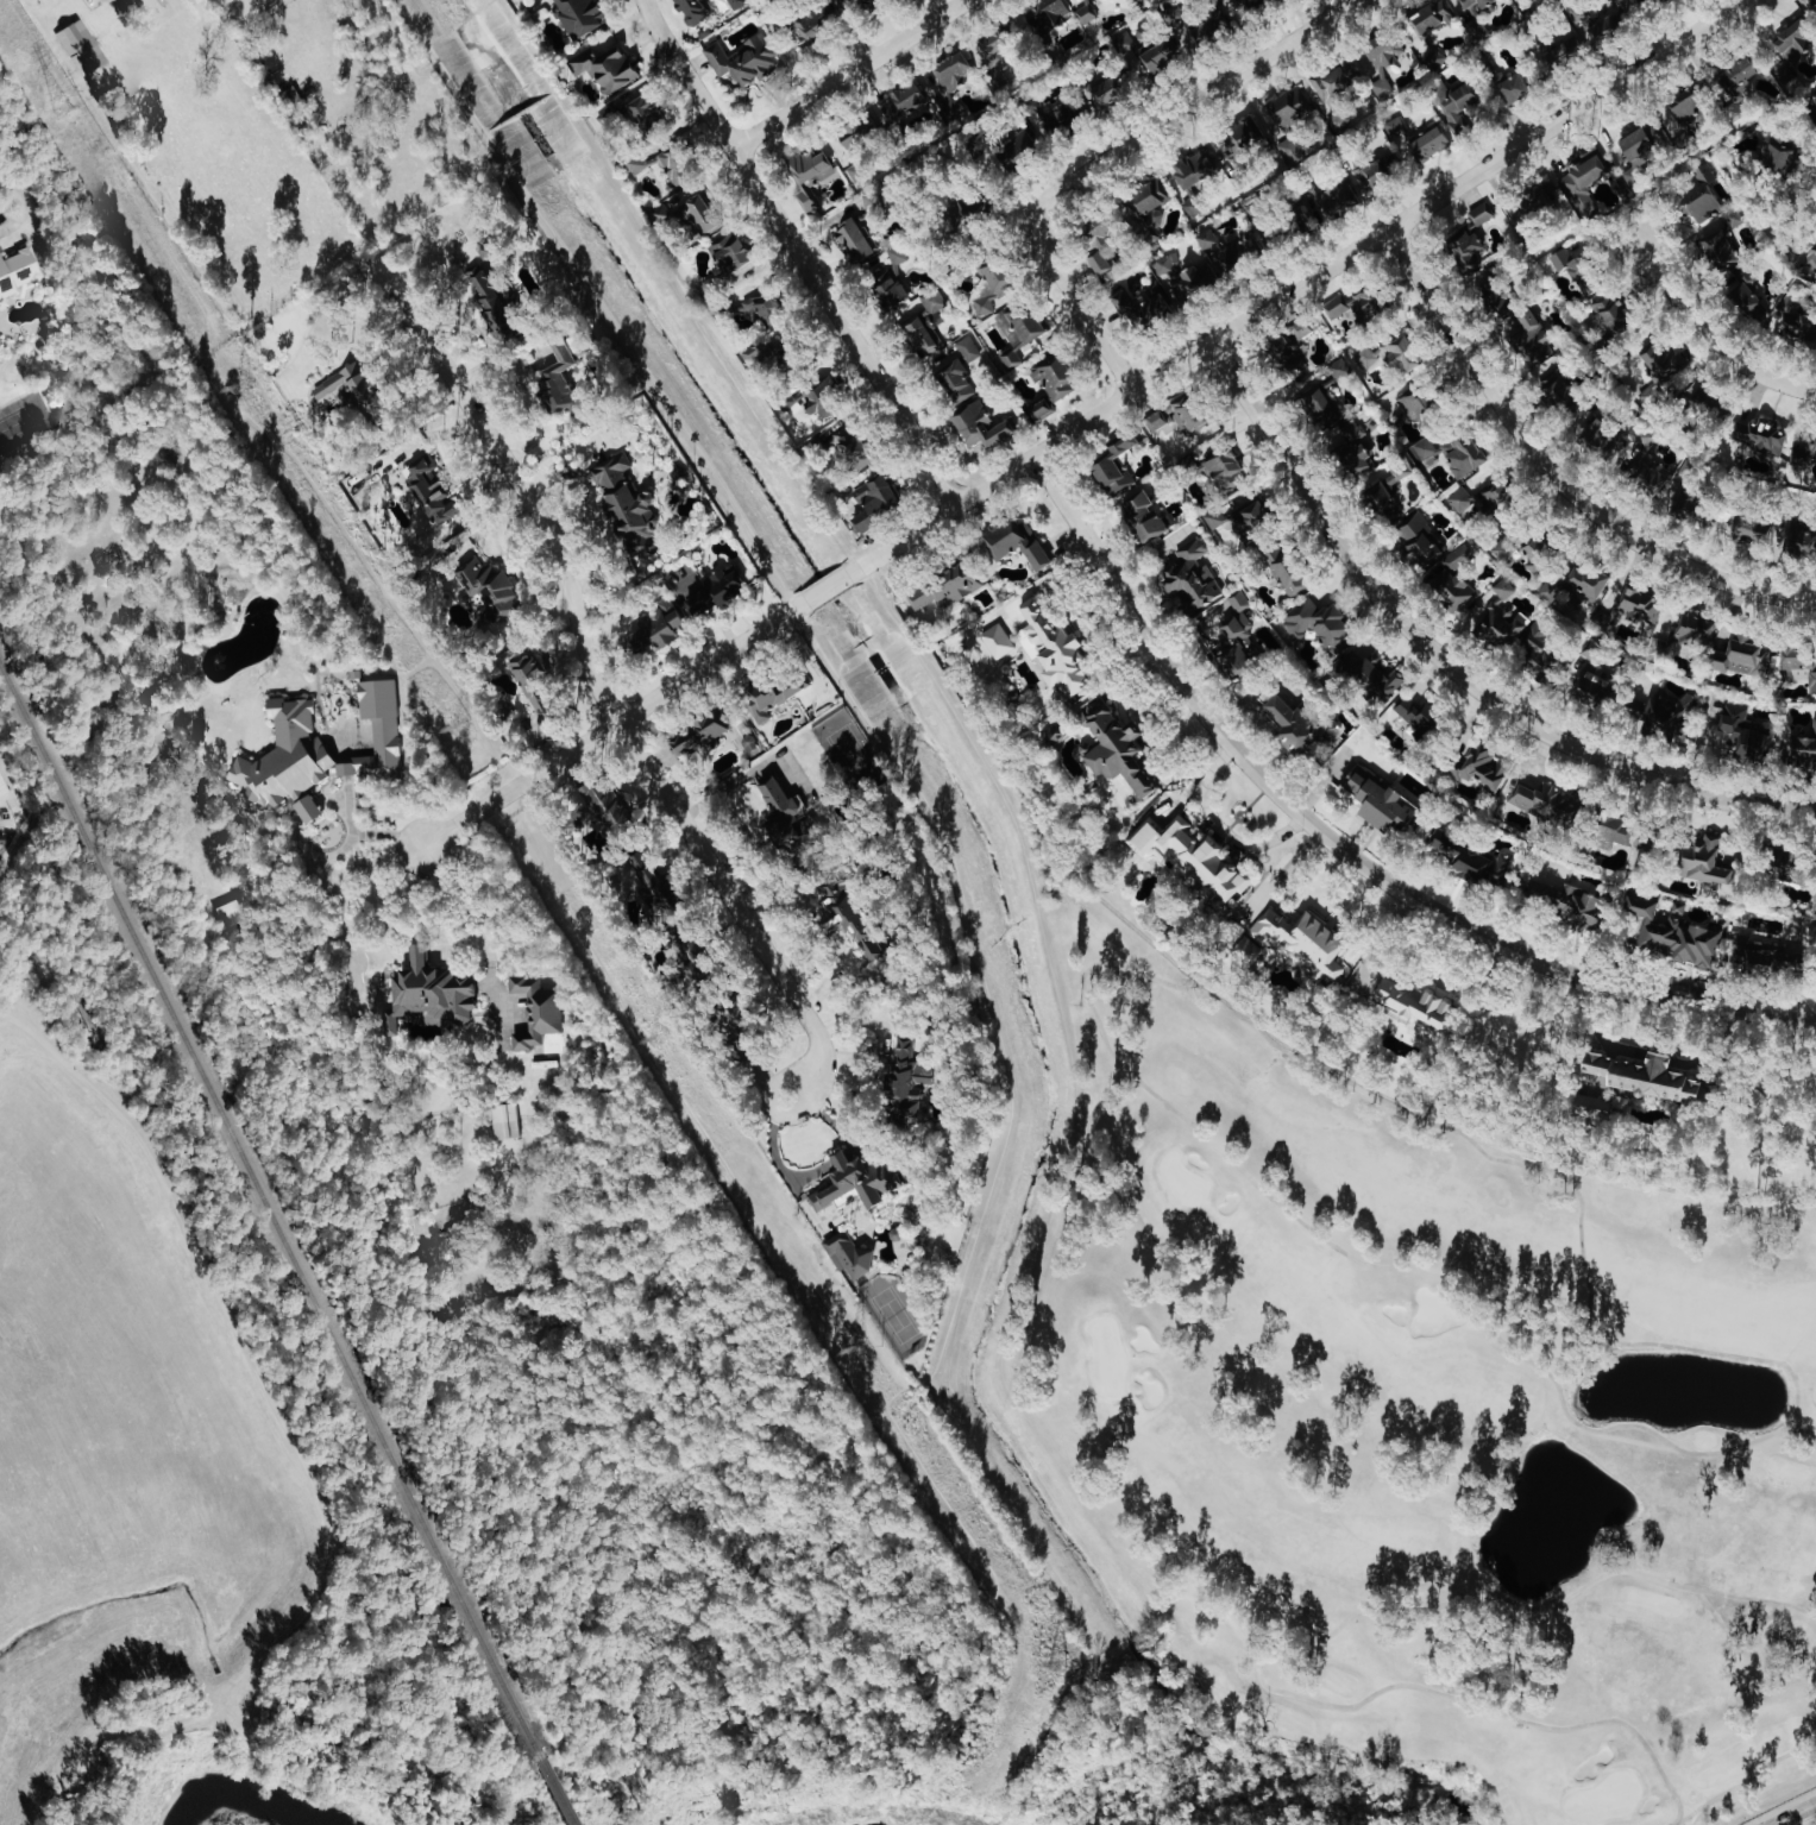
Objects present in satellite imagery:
building: (1141, 0)
building: (737, 4)
building: (1652, 4)
building: (857, 5)
building: (1248, 5)
building: (1477, 5)
building: (693, 12)
building: (1088, 12)
building: (580, 17)
building: (1047, 18)
building: (810, 25)
building: (1192, 26)
building: (1610, 27)
building: (1796, 43)
building: (81, 48)
building: (1131, 54)
building: (1564, 54)
building: (1161, 58)
building: (744, 59)
building: (1383, 59)
building: (608, 68)
building: (955, 71)
road: (848, 74)
building: (1338, 81)
building: (1735, 88)
building: (1515, 90)
building: (907, 101)
road: (1194, 105)
building: (1688, 106)
power tower: (64, 107)
building: (1293, 107)
building: (954, 111)
building: (649, 117)
building: (1064, 119)
building: (1397, 131)
building: (859, 132)
building: (1248, 132)
building: (1022, 145)
building: (1429, 145)
building: (1290, 151)
building: (1640, 153)
building: (1777, 156)
building: (1198, 166)
building: (674, 169)
building: (859, 171)
building: (1372, 175)
building: (810, 176)
building: (1584, 183)
building: (1701, 200)
building: (1542, 201)
building: (1149, 202)
building: (1328, 202)
building: (1253, 204)
building: (1194, 206)
building: (683, 213)
building: (1482, 215)
building: (1099, 231)
building: (856, 239)
building: (1208, 239)
building: (488, 251)
building: (1470, 251)
road: (798, 252)
building: (1720, 252)
building: (731, 253)
building: (1812, 259)
building: (1100, 263)
building: (1579, 270)
building: (17, 271)
building: (1187, 277)
building: (890, 278)
building: (993, 287)
building: (1746, 294)
building: (1497, 296)
building: (492, 300)
building: (1142, 303)
building: (1358, 304)
road: (1081, 306)
building: (764, 307)
building: (1613, 314)
building: (1796, 320)
building: (922, 321)
building: (1020, 328)
building: (1300, 329)
road: (482, 333)
building: (1534, 338)
road: (1715, 341)
building: (1402, 354)
building: (769, 355)
building: (1286, 355)
building: (1366, 357)
building: (1340, 369)
building: (959, 370)
building: (1660, 371)
building: (560, 379)
building: (1050, 384)
building: (1563, 388)
power tower: (240, 389)
building: (357, 392)
road: (527, 397)
building: (824, 399)
building: (1420, 407)
building: (1179, 416)
road: (1089, 421)
building: (981, 426)
building: (1339, 430)
building: (1760, 438)
building: (1603, 439)
building: (1647, 439)
building: (852, 447)
building: (1425, 448)
building: (1805, 449)
building: (1464, 453)
building: (1113, 465)
building: (1689, 470)
building: (1401, 471)
building: (1226, 472)
road: (1557, 476)
building: (1650, 479)
building: (434, 492)
building: (1498, 493)
building: (1462, 499)
building: (875, 502)
building: (1382, 502)
building: (627, 503)
building: (1688, 506)
building: (1145, 516)
building: (1215, 517)
road: (592, 518)
building: (1251, 518)
building: (1753, 530)
building: (1419, 540)
building: (1016, 541)
building: (1802, 542)
building: (1540, 554)
building: (1287, 569)
building: (1192, 577)
building: (1452, 579)
building: (1577, 586)
building: (491, 587)
building: (944, 587)
building: (717, 592)
building: (1240, 602)
building: (1638, 609)
building: (1500, 617)
building: (1320, 624)
building: (656, 629)
building: (1692, 631)
building: (999, 641)
building: (1237, 648)
building: (1056, 649)
building: (1540, 649)
building: (1742, 655)
building: (1799, 666)
road: (1450, 667)
building: (1372, 673)
building: (535, 685)
building: (1592, 693)
building: (772, 697)
road: (604, 703)
building: (1665, 713)
building: (1422, 718)
power tower: (465, 725)
building: (1301, 726)
building: (702, 734)
building: (1743, 735)
building: (319, 748)
building: (1116, 748)
building: (1803, 748)
building: (1483, 767)
building: (1, 791)
building: (1381, 803)
building: (1548, 803)
building: (603, 807)
building: (308, 808)
road: (309, 808)
road: (343, 808)
building: (779, 808)
building: (1621, 833)
road: (347, 841)
road: (1347, 852)
building: (1194, 858)
building: (1471, 858)
building: (1708, 863)
building: (1797, 869)
building: (646, 882)
building: (1815, 898)
road: (390, 902)
road: (471, 906)
building: (1579, 907)
building: (850, 918)
building: (1674, 931)
building: (1803, 931)
building: (1294, 943)
building: (691, 954)
road: (419, 955)
building: (1767, 956)
building: (431, 995)
building: (1403, 996)
road: (993, 1005)
building: (538, 1012)
power tower: (660, 1038)
building: (1647, 1078)
building: (909, 1080)
building: (1596, 1106)
road: (838, 1109)
building: (507, 1122)
road: (849, 1153)
road: (788, 1156)
building: (854, 1187)
railway: (270, 1213)
building: (852, 1257)
road: (392, 1273)
road: (810, 1301)
power tower: (856, 1348)
power tower: (1054, 1667)
railway: (554, 1793)
river: (255, 1795)
road: (497, 1802)
road: (1803, 1818)

